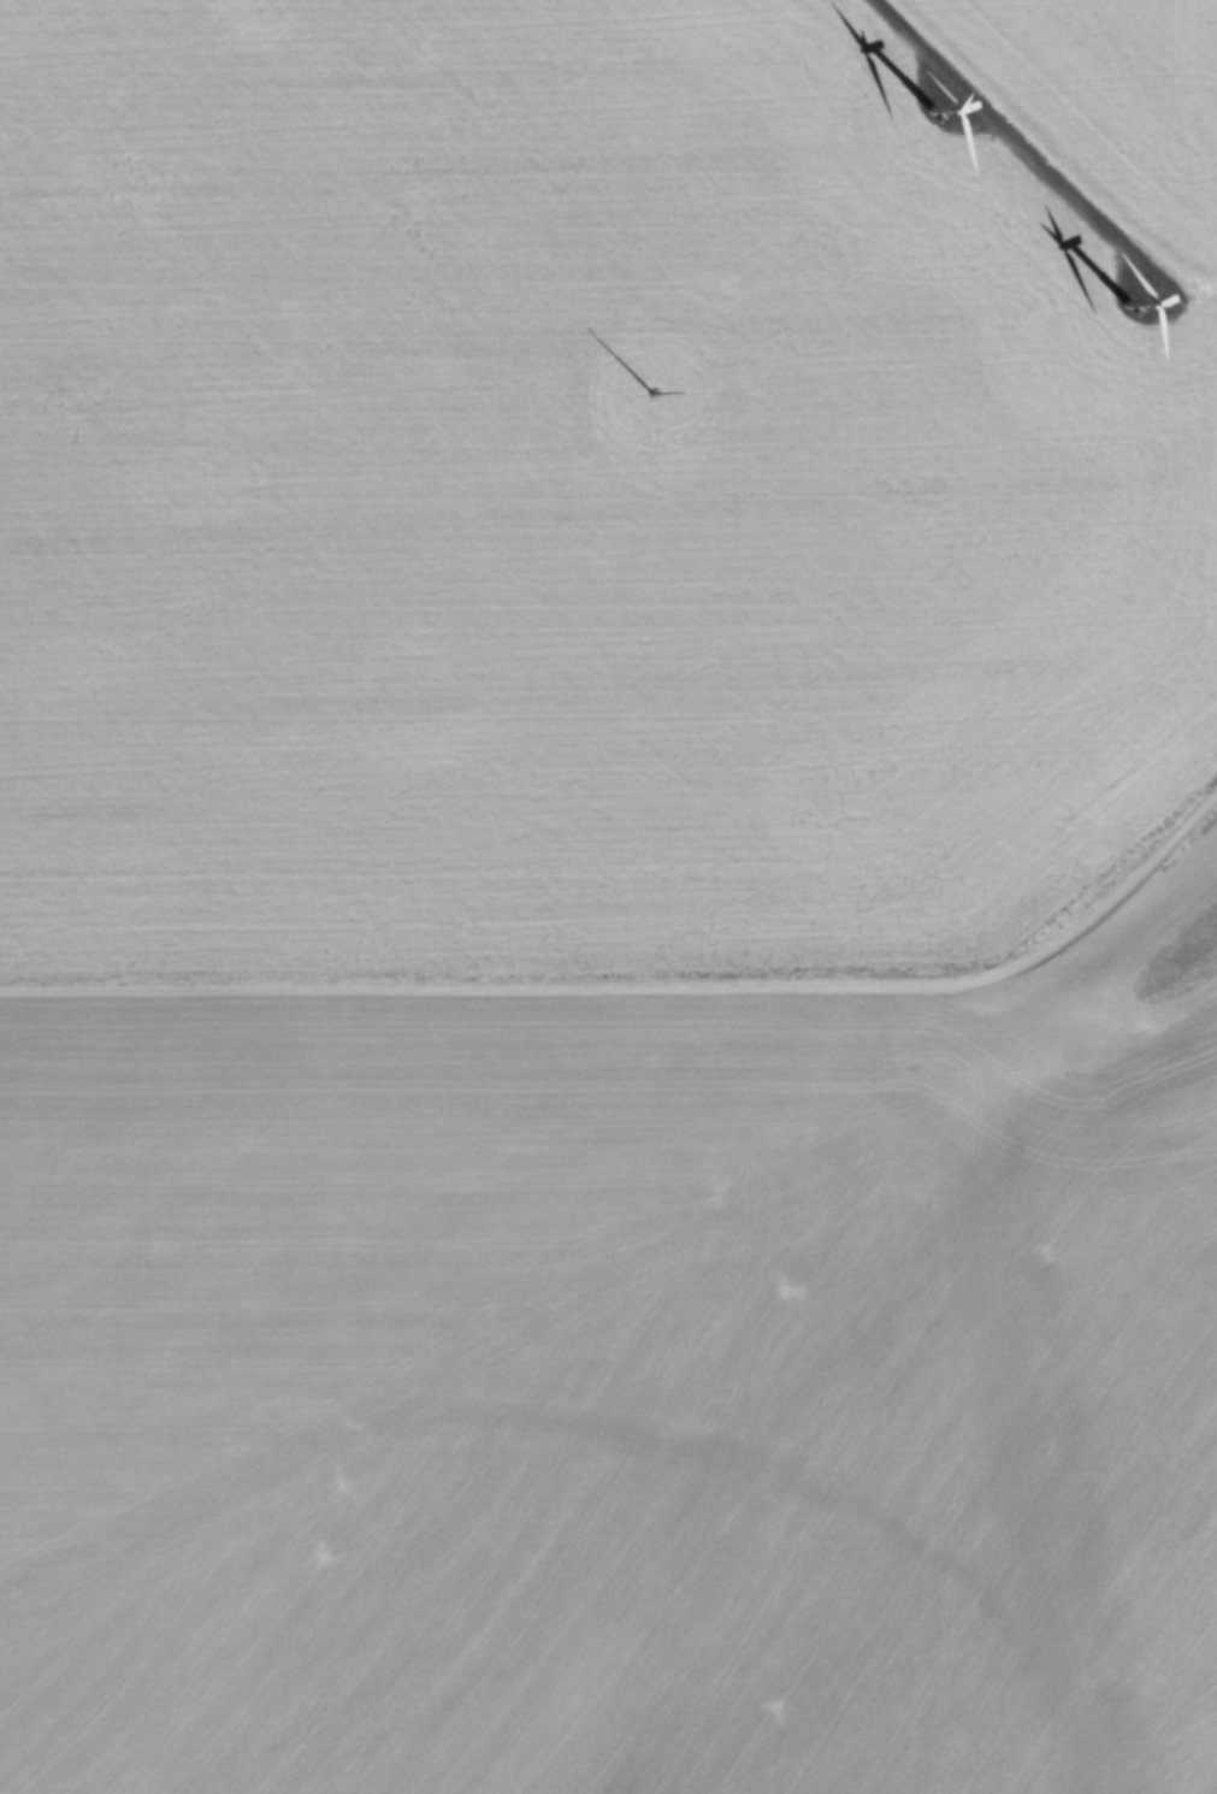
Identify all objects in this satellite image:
wind turbine: (949, 105)
road: (1024, 151)
wind turbine: (1146, 296)

